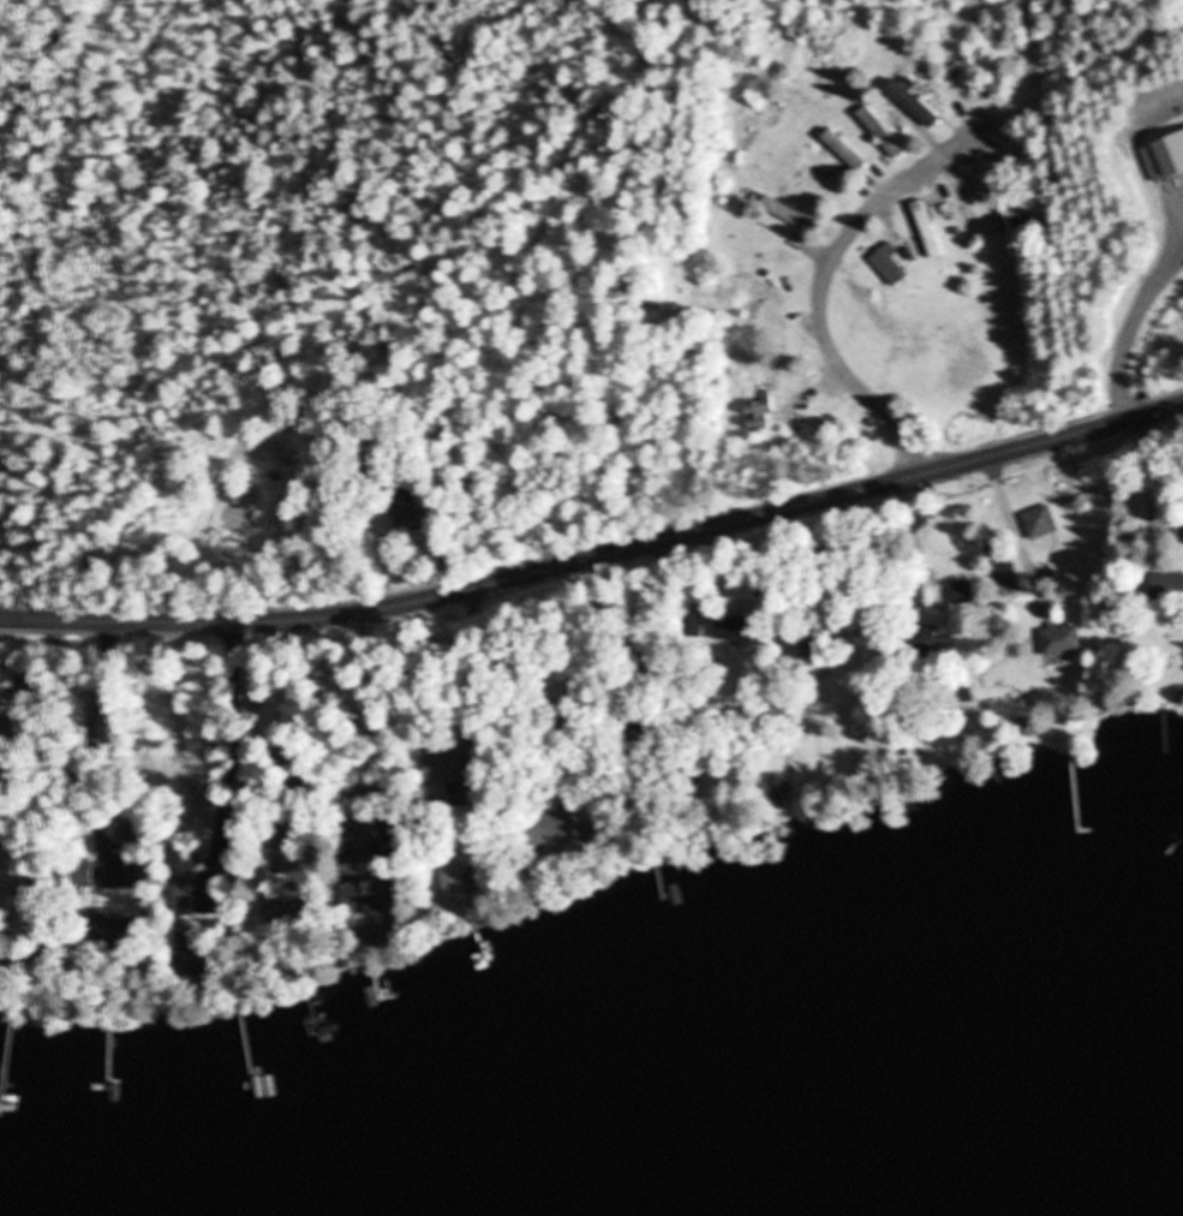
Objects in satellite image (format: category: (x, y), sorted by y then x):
building: (915, 106)
building: (882, 135)
building: (844, 150)
building: (820, 186)
building: (966, 208)
building: (788, 215)
building: (1016, 216)
building: (890, 266)
road: (825, 287)
building: (760, 415)
building: (1041, 523)
road: (597, 554)
building: (1167, 590)
building: (966, 594)
building: (694, 626)
building: (736, 628)
building: (1062, 642)
building: (919, 645)
building: (443, 775)
building: (775, 791)
building: (360, 824)
building: (550, 828)
building: (83, 874)
building: (453, 892)
building: (177, 894)
building: (286, 906)
building: (364, 920)
building: (118, 931)
building: (199, 955)

